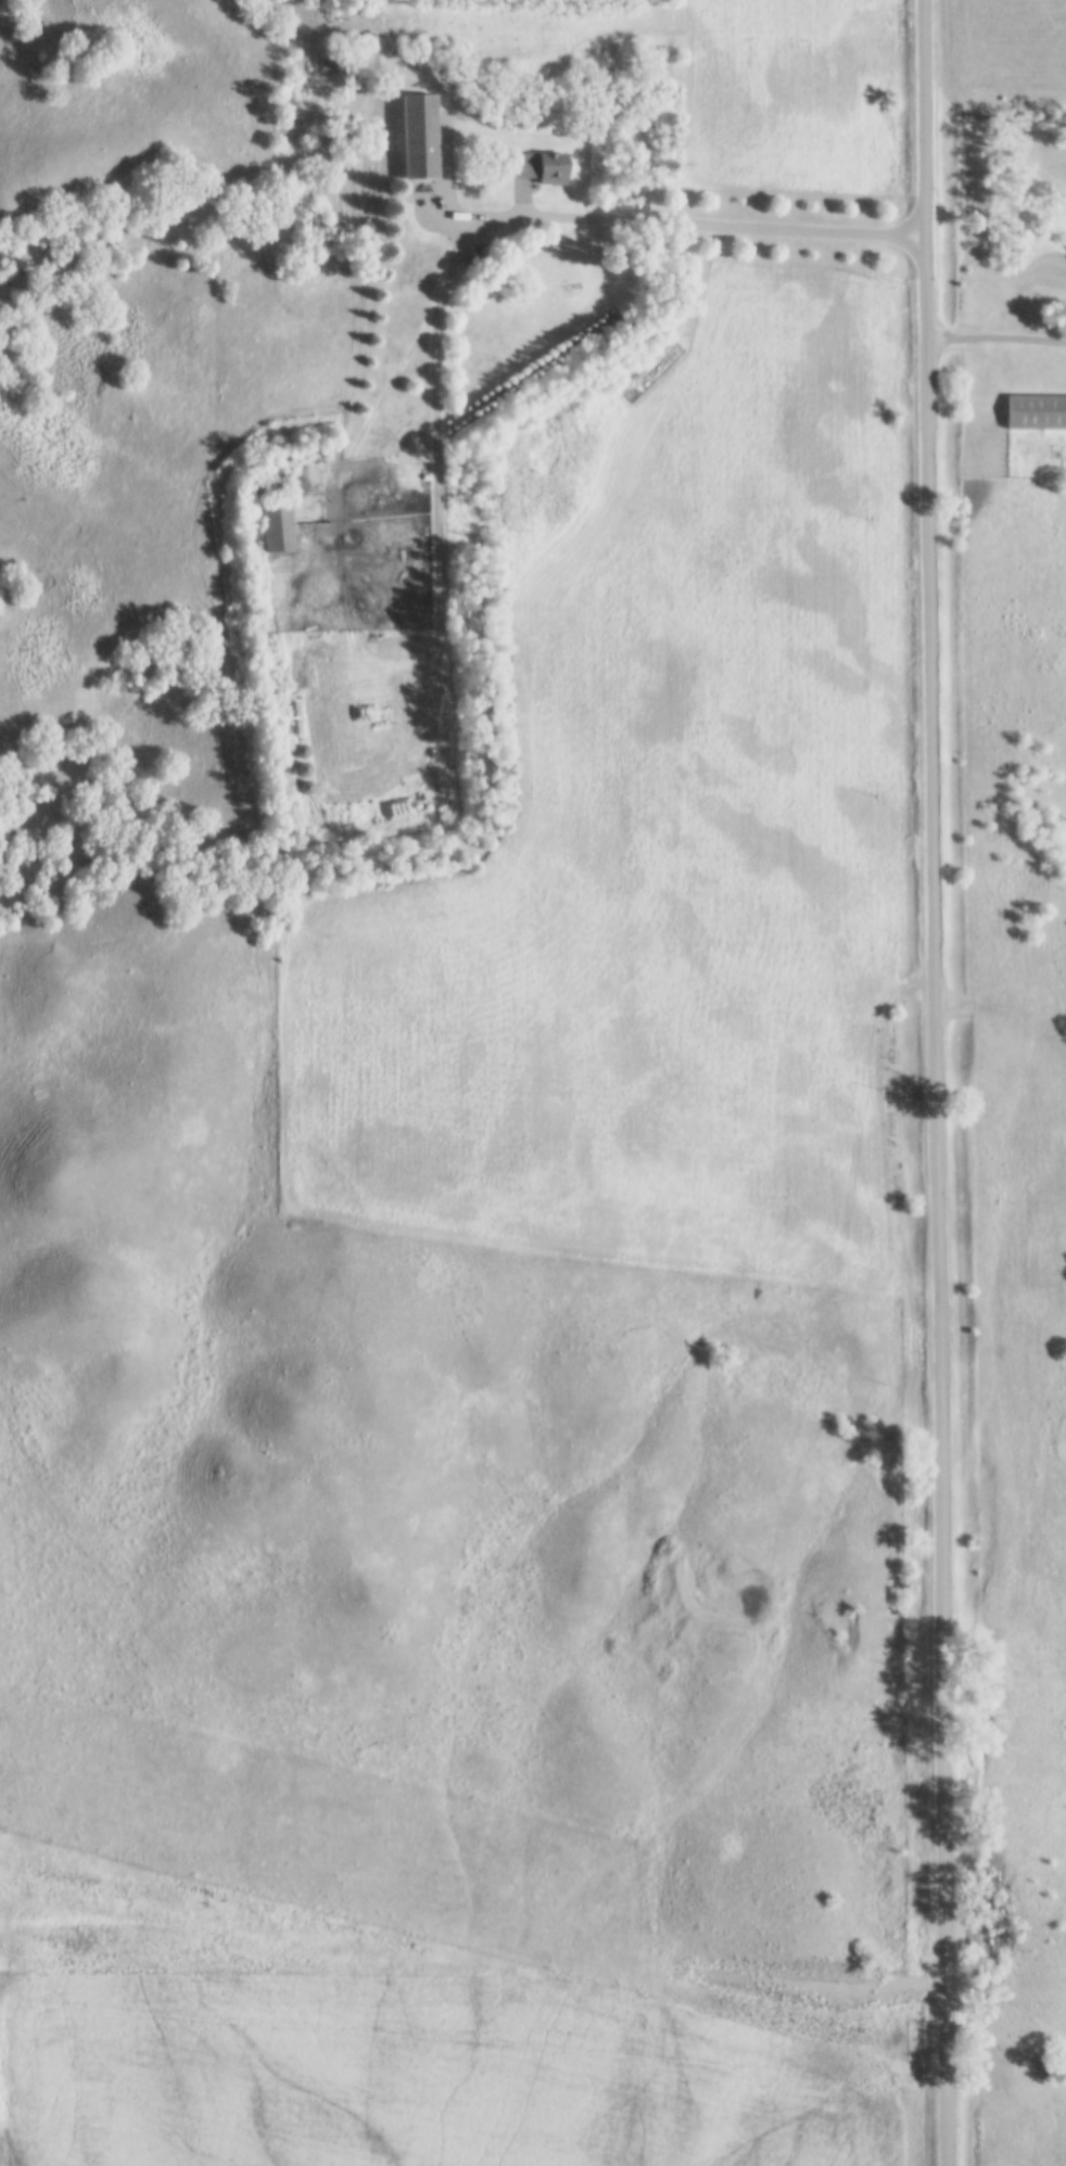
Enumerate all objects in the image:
building: (421, 133)
building: (540, 164)
road: (591, 216)
road: (446, 217)
road: (994, 335)
building: (1038, 409)
building: (278, 524)
building: (293, 708)
building: (295, 726)
building: (302, 750)
silo: (302, 750)
building: (304, 768)
silo: (304, 768)
building: (306, 786)
silo: (306, 786)
road: (936, 1082)

